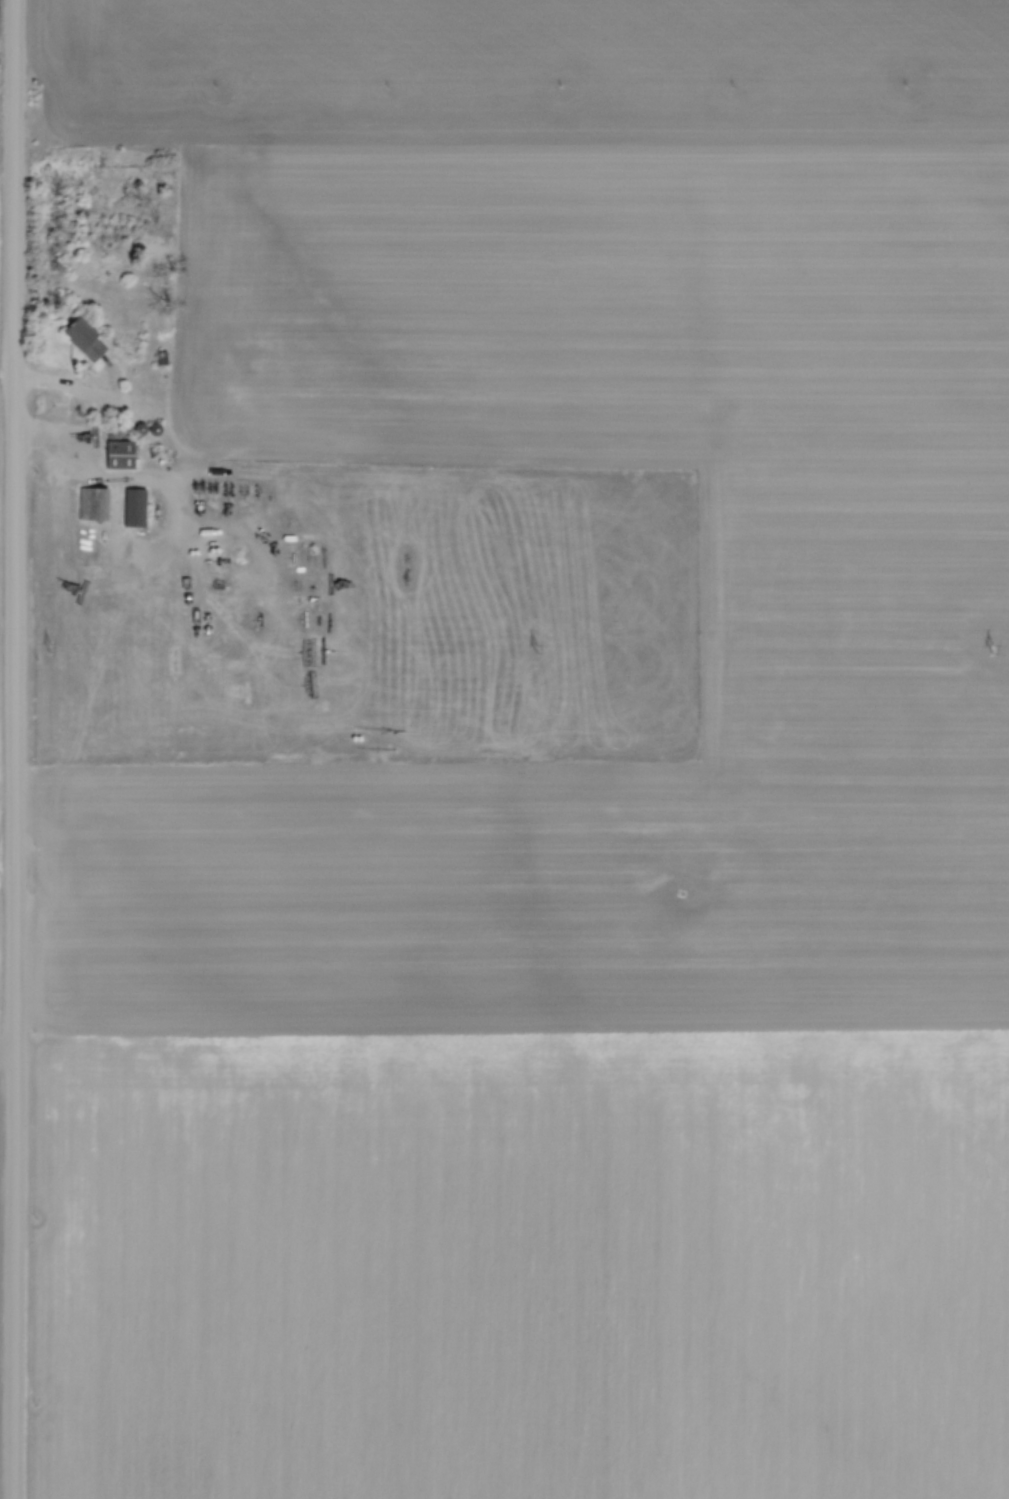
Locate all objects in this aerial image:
building: (84, 339)
road: (97, 388)
building: (139, 428)
silo: (139, 428)
building: (156, 429)
silo: (156, 429)
building: (124, 454)
road: (163, 475)
building: (95, 504)
building: (138, 507)
power tower: (52, 648)
power tower: (993, 649)
power tower: (542, 650)
road: (17, 749)
crop: (566, 789)

